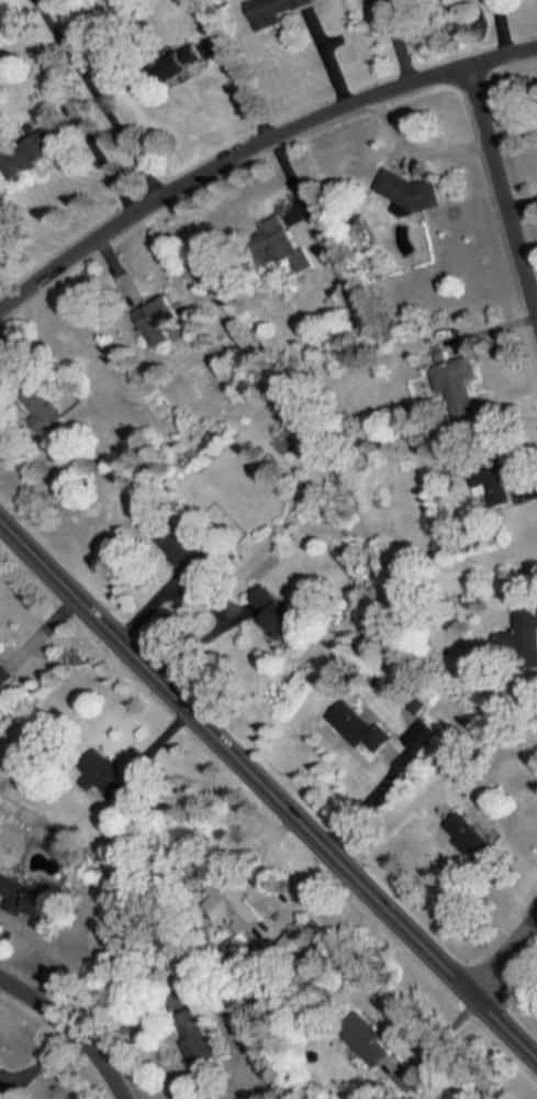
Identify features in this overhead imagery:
building: (373, 0)
building: (273, 9)
building: (177, 68)
road: (244, 87)
road: (98, 97)
building: (45, 138)
road: (250, 145)
road: (502, 175)
building: (413, 192)
building: (278, 244)
building: (158, 317)
building: (457, 385)
building: (37, 404)
building: (490, 481)
building: (186, 555)
building: (273, 610)
building: (523, 637)
building: (7, 676)
building: (360, 722)
building: (422, 730)
building: (104, 775)
road: (269, 779)
building: (469, 835)
building: (29, 899)
building: (235, 902)
road: (510, 957)
road: (76, 1025)
building: (367, 1032)
road: (443, 1036)
building: (194, 1037)
building: (1, 1063)

